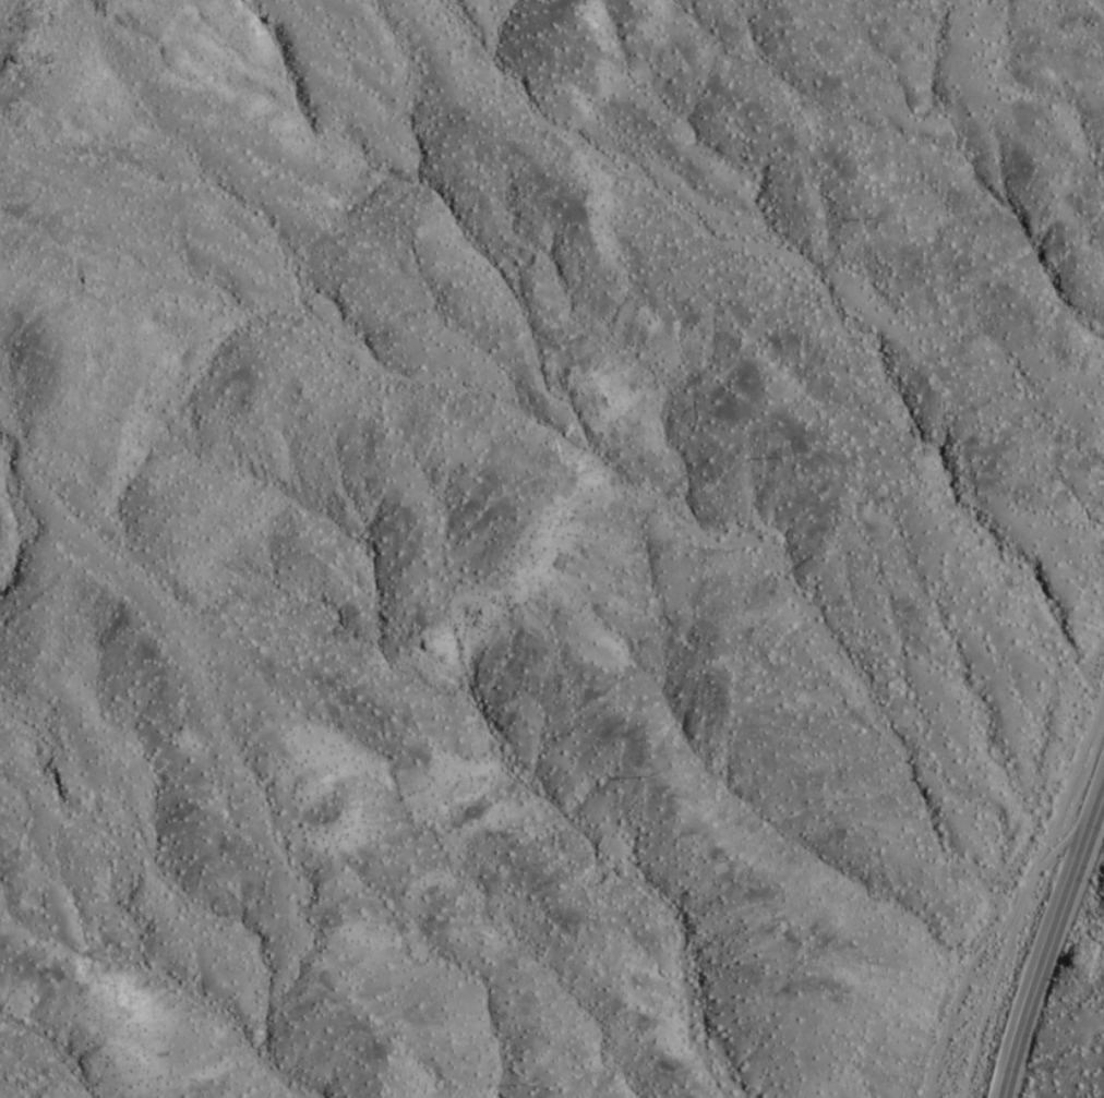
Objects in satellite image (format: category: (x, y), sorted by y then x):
road: (1051, 945)

